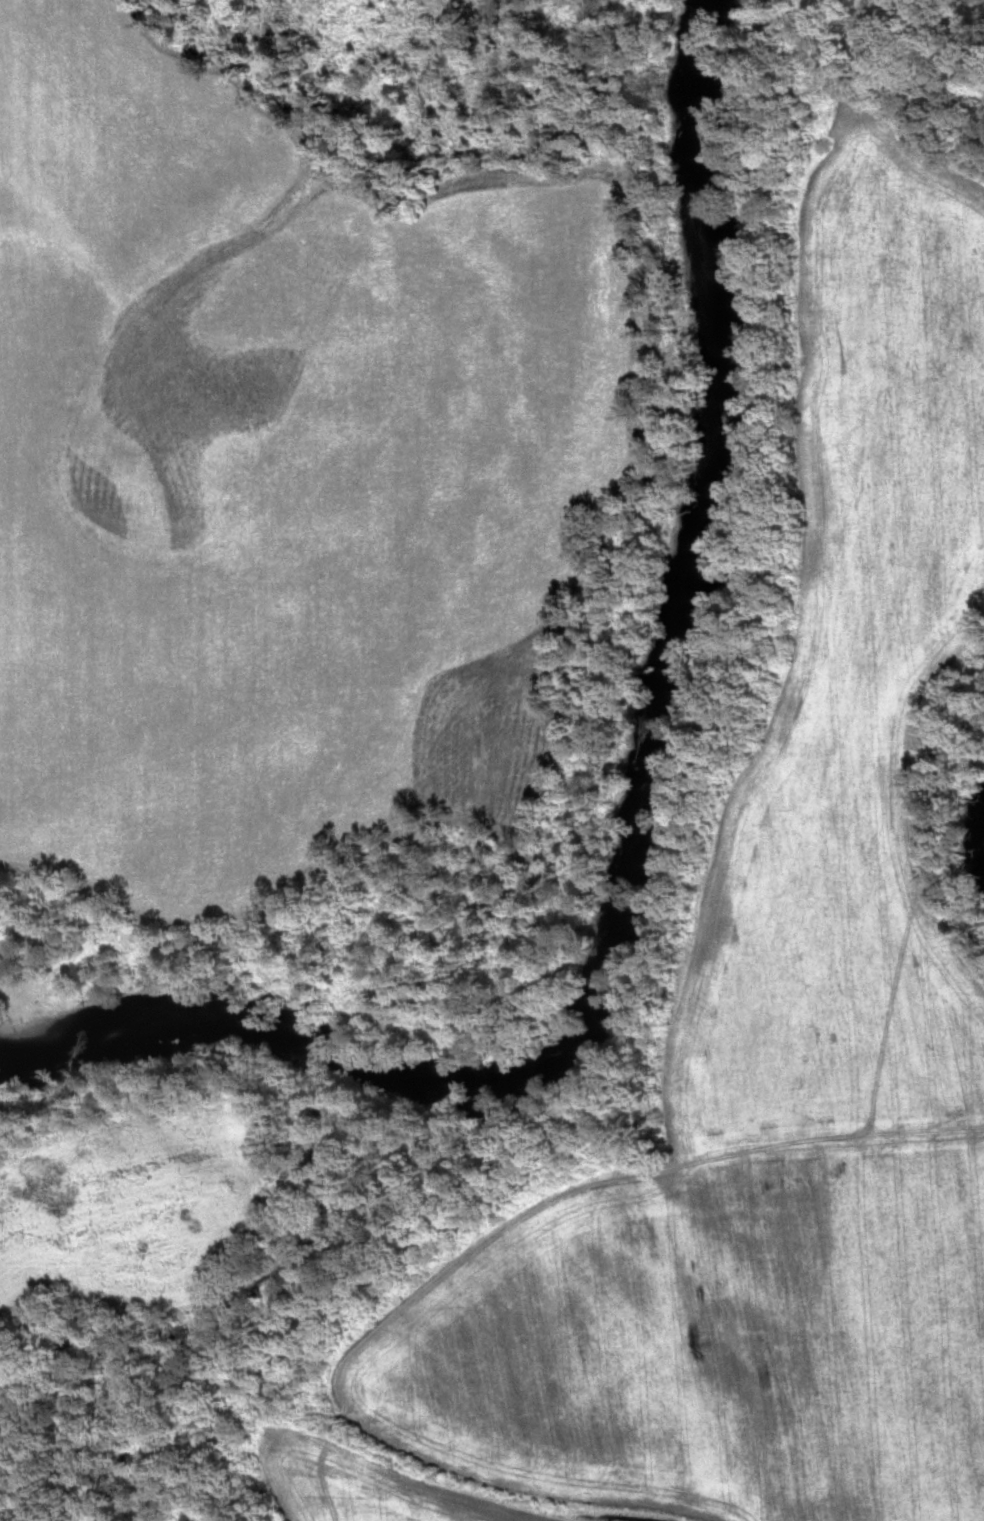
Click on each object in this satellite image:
river: (629, 823)
river: (983, 831)

